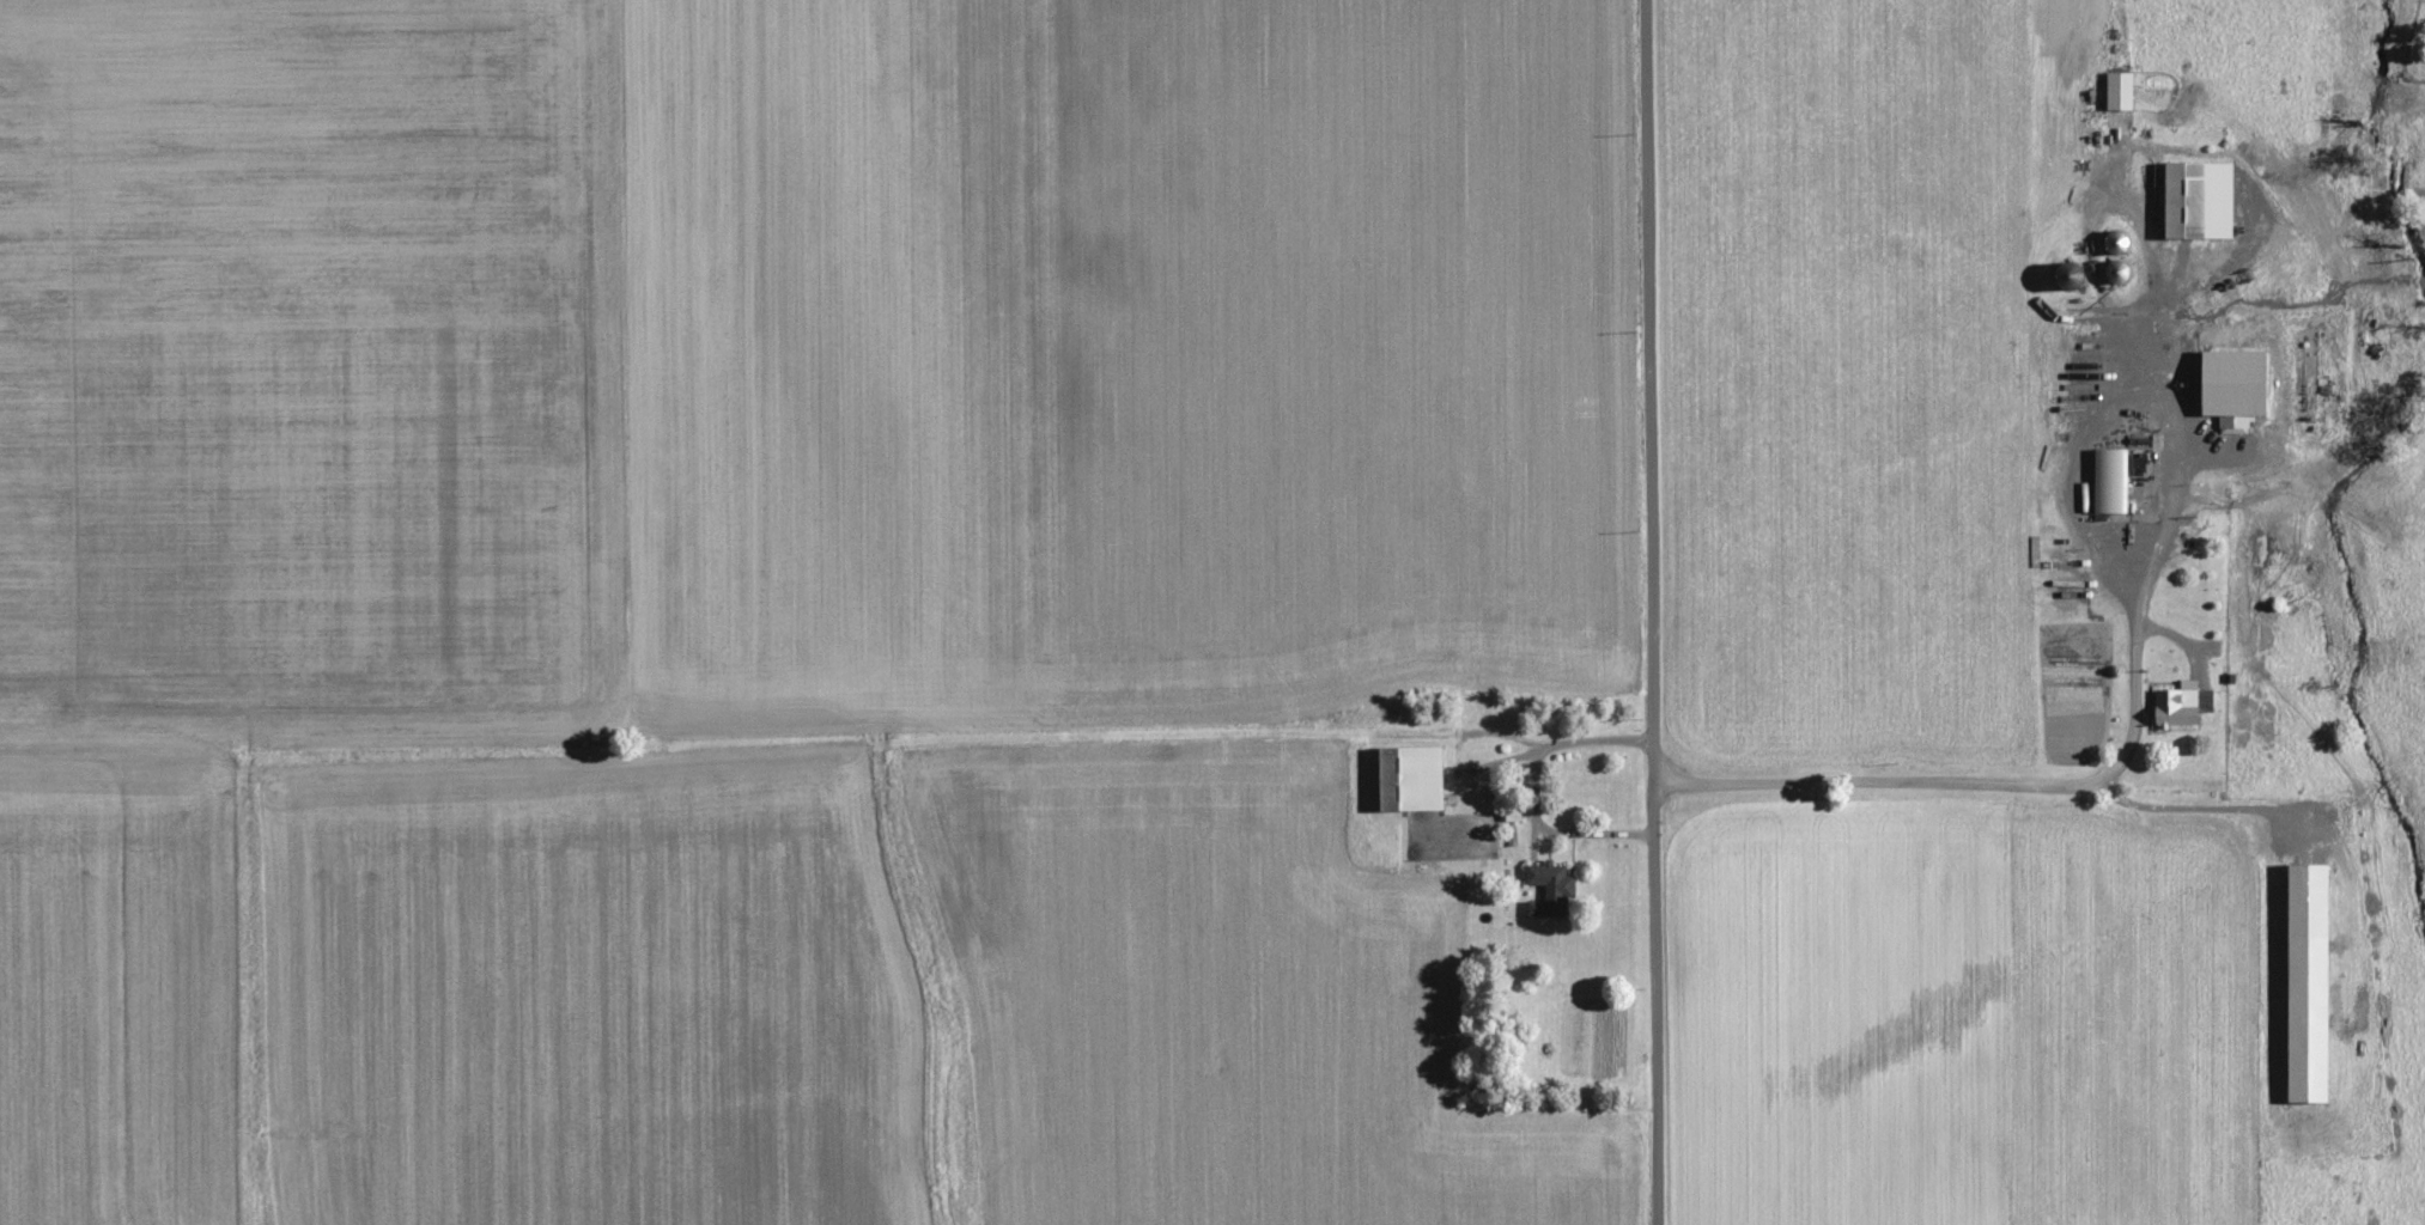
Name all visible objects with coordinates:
building: (2117, 90)
building: (2186, 201)
building: (2075, 384)
building: (2232, 384)
building: (2109, 480)
road: (1642, 611)
building: (1410, 776)
road: (1987, 779)
road: (1524, 790)
building: (2307, 980)

